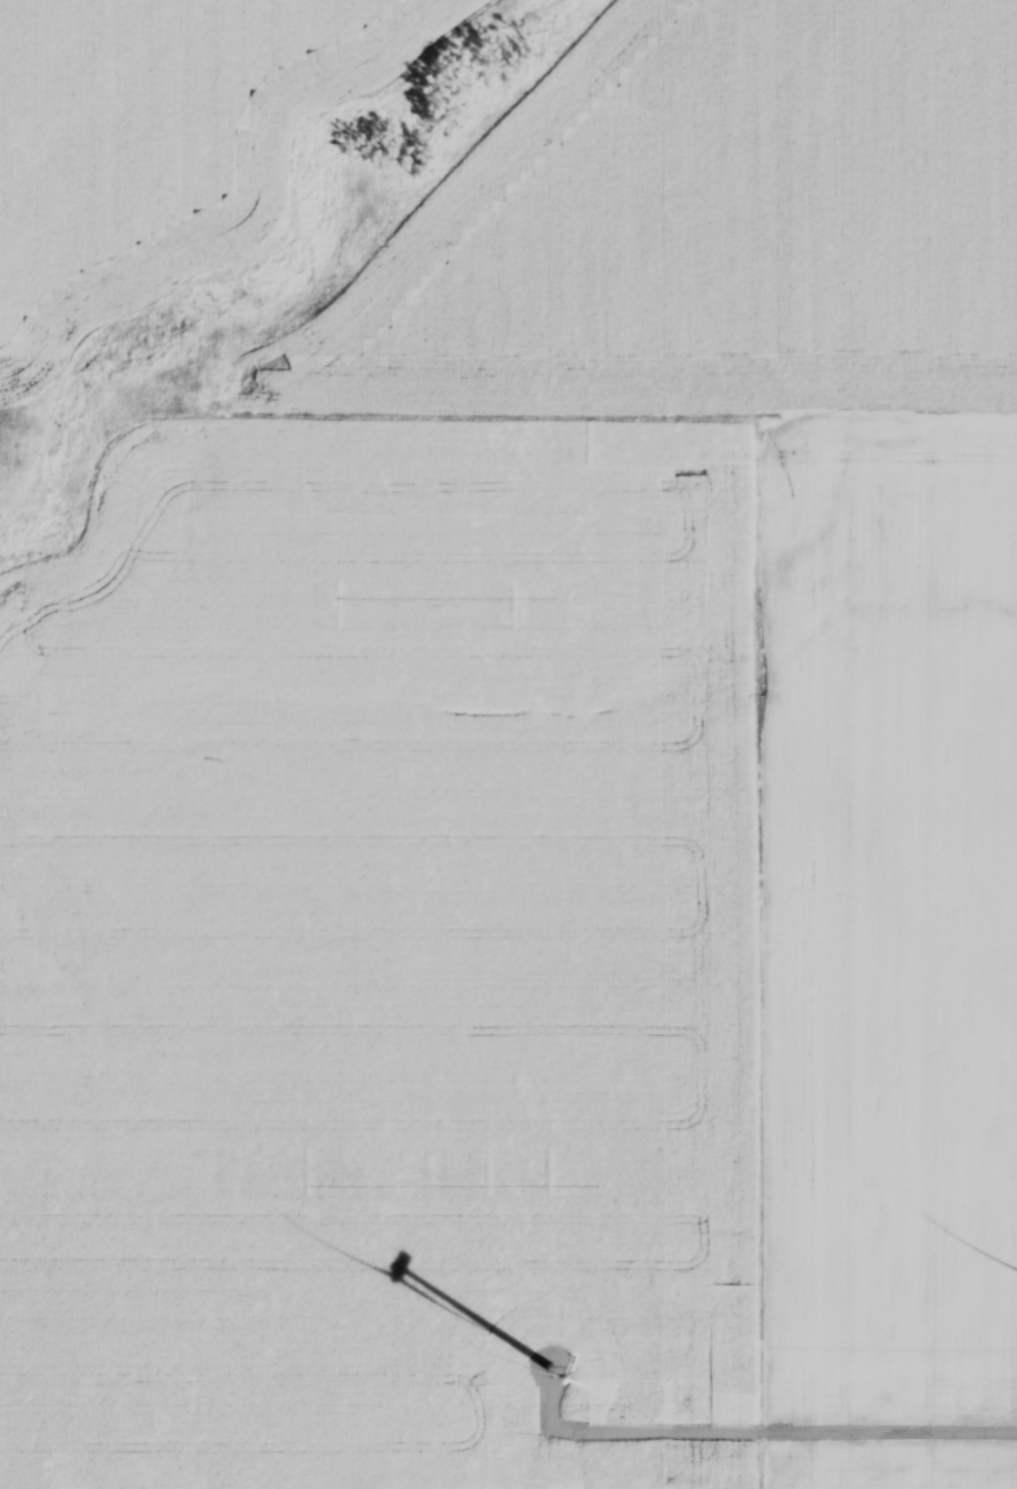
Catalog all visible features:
wind turbine: (552, 1370)

